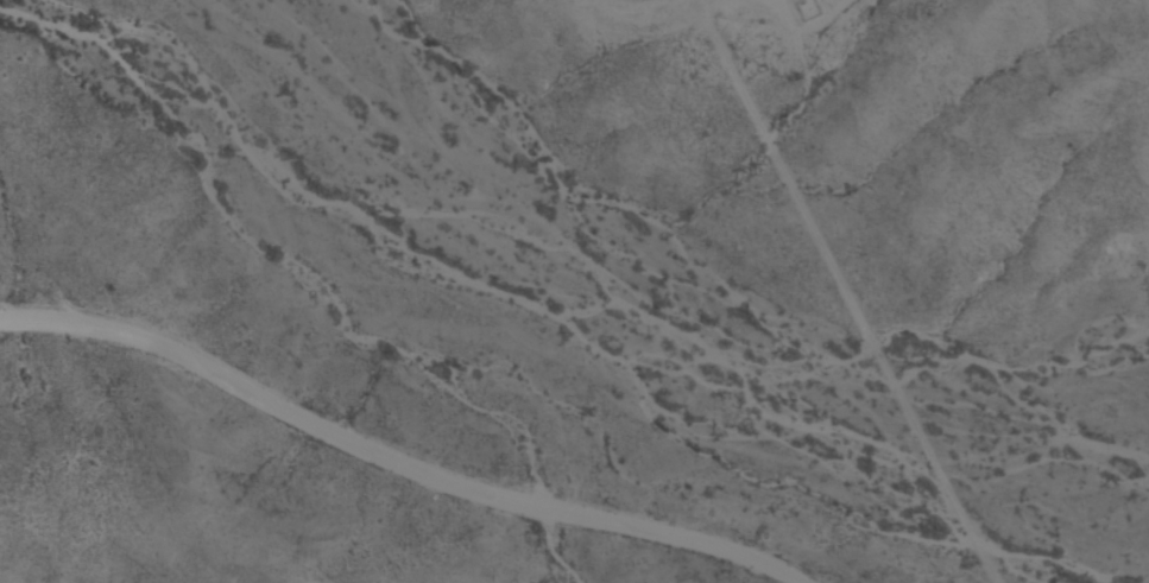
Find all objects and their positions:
road: (402, 467)

